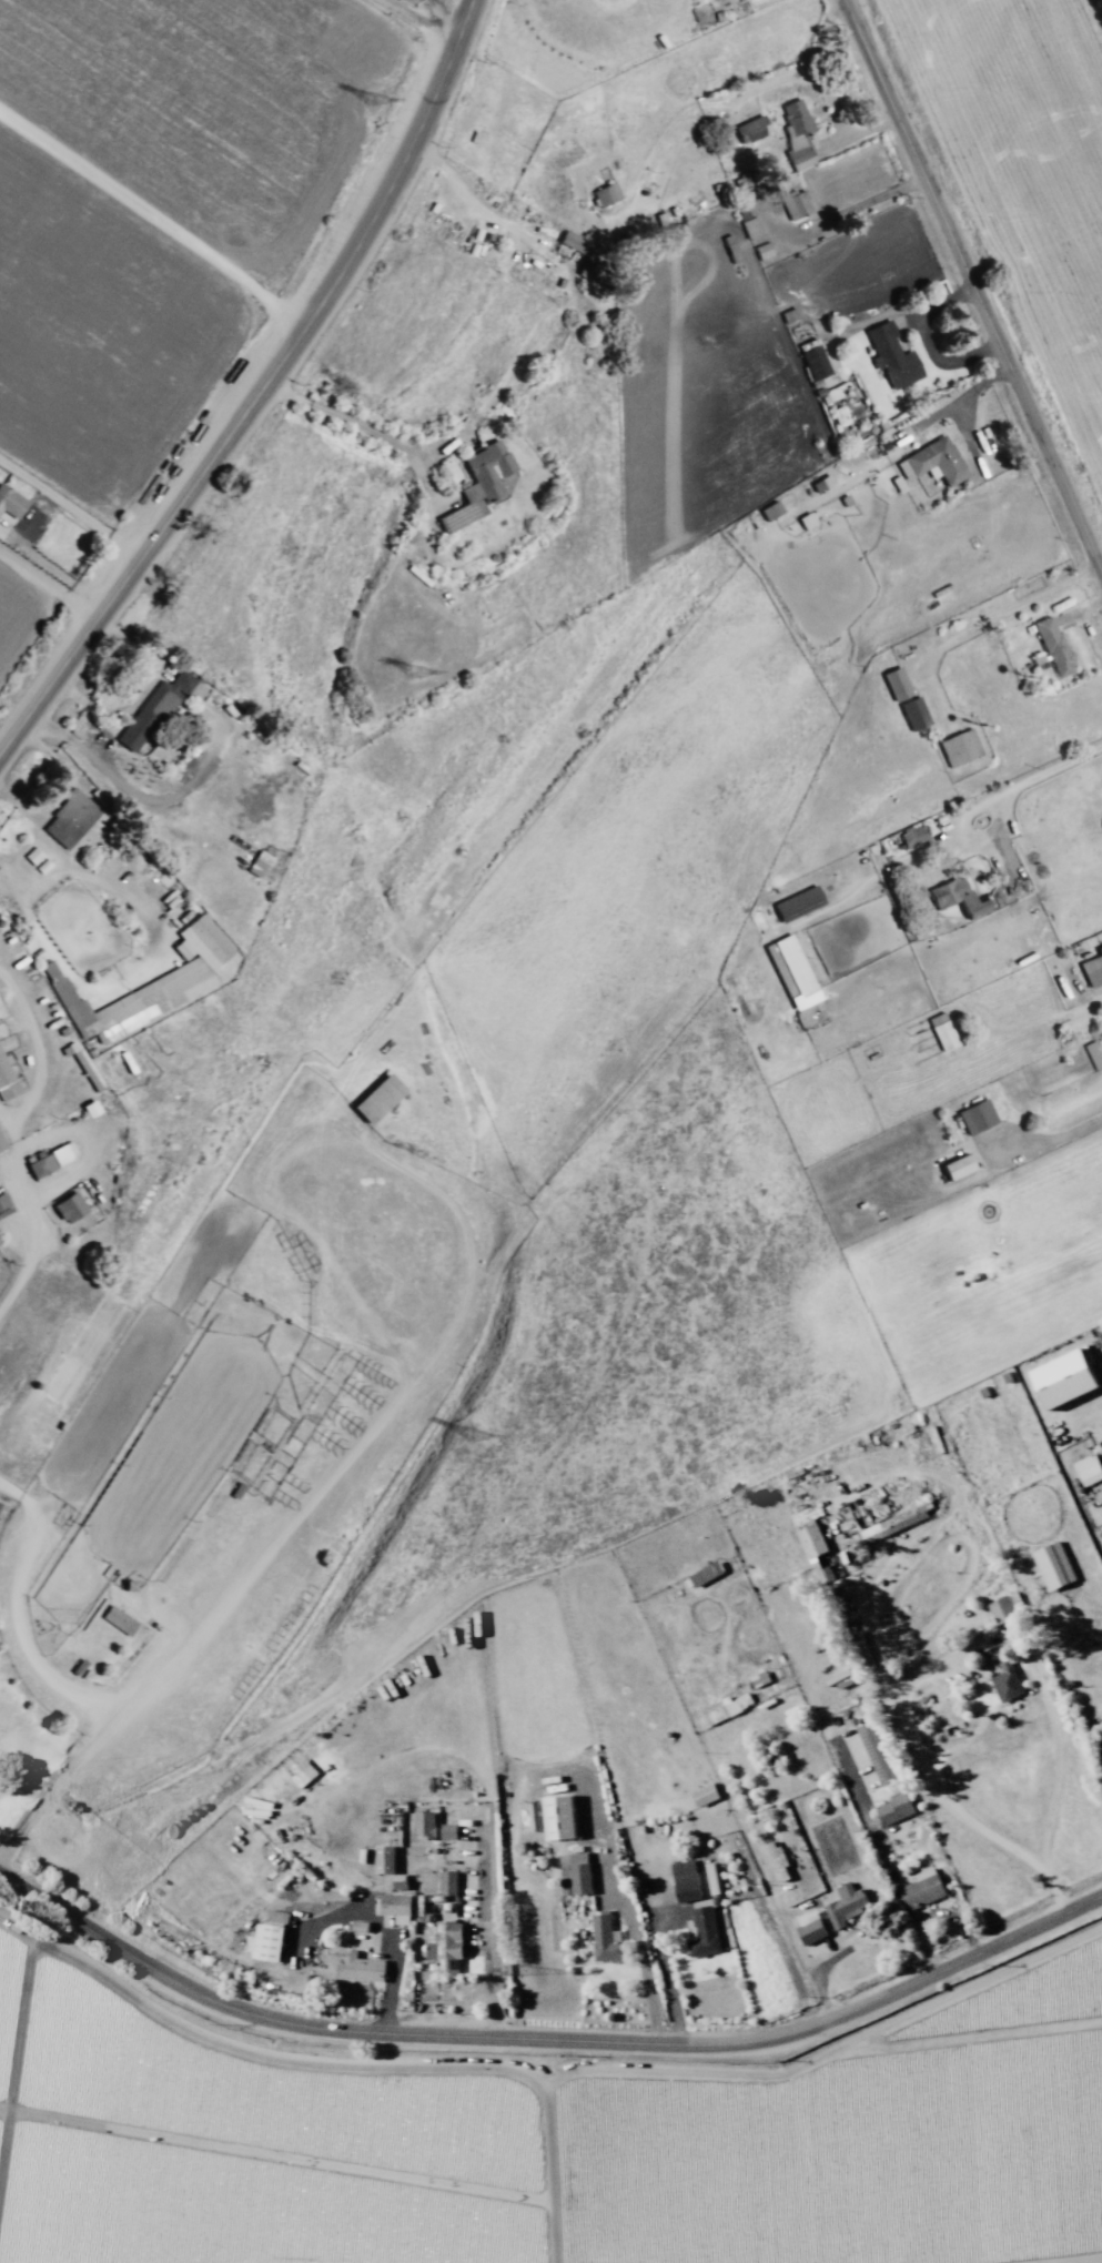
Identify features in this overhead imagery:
road: (429, 21)
power tower: (370, 101)
building: (751, 130)
building: (798, 134)
crop: (1019, 176)
building: (606, 194)
building: (796, 204)
crop: (166, 210)
building: (751, 228)
building: (586, 255)
road: (977, 277)
building: (892, 355)
building: (815, 363)
road: (262, 390)
road: (347, 418)
building: (933, 462)
building: (479, 484)
building: (11, 502)
building: (770, 511)
crop: (28, 627)
building: (1053, 646)
power tower: (415, 673)
building: (896, 684)
building: (158, 708)
building: (913, 714)
building: (959, 748)
building: (70, 819)
building: (912, 836)
building: (259, 863)
building: (958, 897)
building: (798, 903)
building: (1093, 968)
building: (797, 981)
road: (1098, 998)
building: (941, 1031)
building: (7, 1080)
building: (377, 1099)
building: (977, 1117)
building: (0, 1150)
building: (50, 1160)
building: (956, 1166)
building: (4, 1205)
building: (70, 1206)
building: (1063, 1378)
power tower: (469, 1436)
building: (1088, 1469)
building: (893, 1523)
building: (811, 1539)
building: (1053, 1565)
building: (1003, 1607)
building: (119, 1620)
road: (973, 1650)
building: (1005, 1681)
road: (52, 1684)
building: (728, 1708)
building: (877, 1752)
building: (303, 1774)
building: (705, 1794)
building: (894, 1808)
building: (534, 1816)
building: (559, 1817)
building: (432, 1826)
building: (772, 1857)
building: (384, 1858)
building: (575, 1872)
building: (685, 1880)
building: (400, 1881)
building: (448, 1882)
building: (922, 1889)
building: (335, 1895)
building: (846, 1905)
building: (396, 1907)
building: (358, 1926)
building: (810, 1927)
building: (704, 1932)
building: (267, 1938)
building: (606, 1939)
building: (446, 1946)
building: (360, 1968)
road: (665, 1968)
power tower: (512, 1971)
road: (549, 2037)
crop: (563, 2141)

